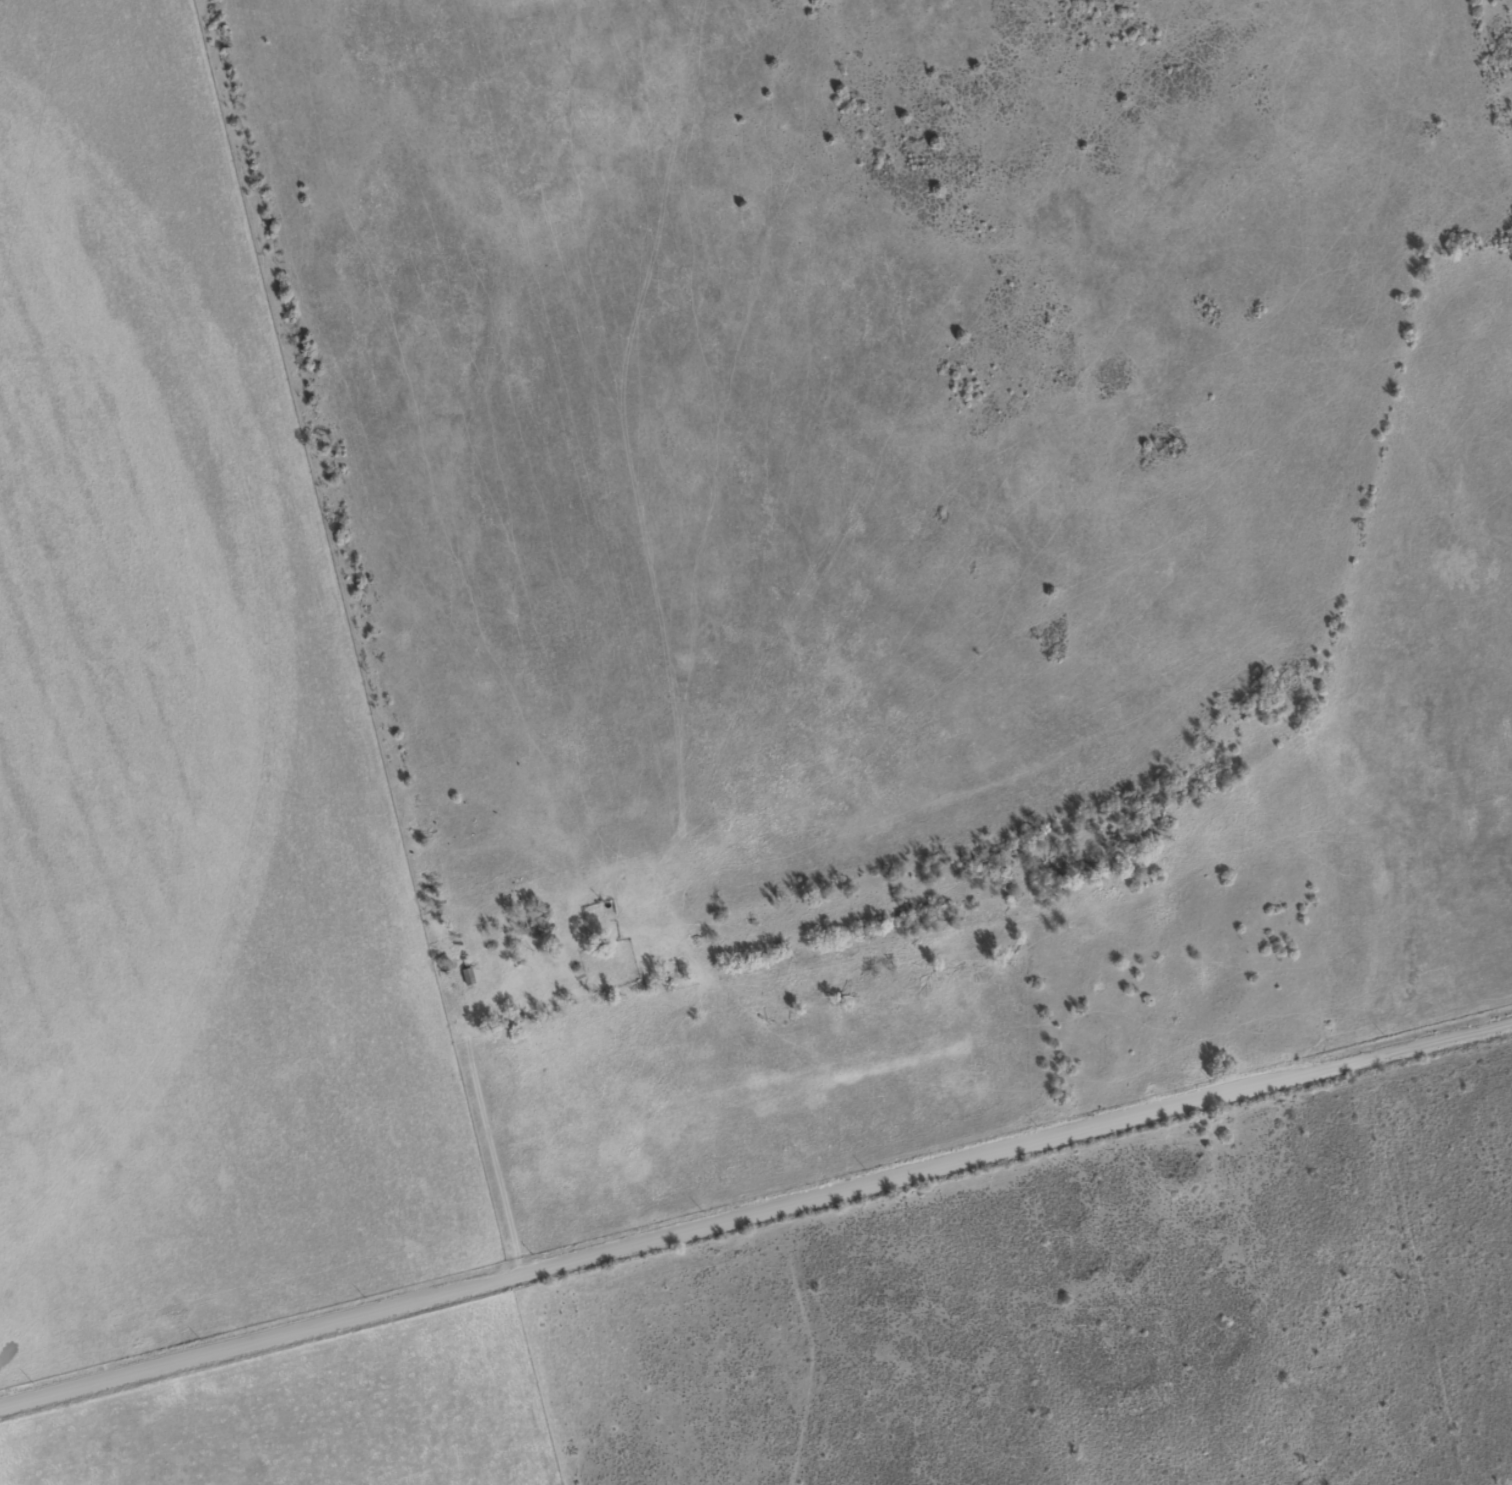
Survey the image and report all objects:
building: (466, 977)
road: (756, 1214)

